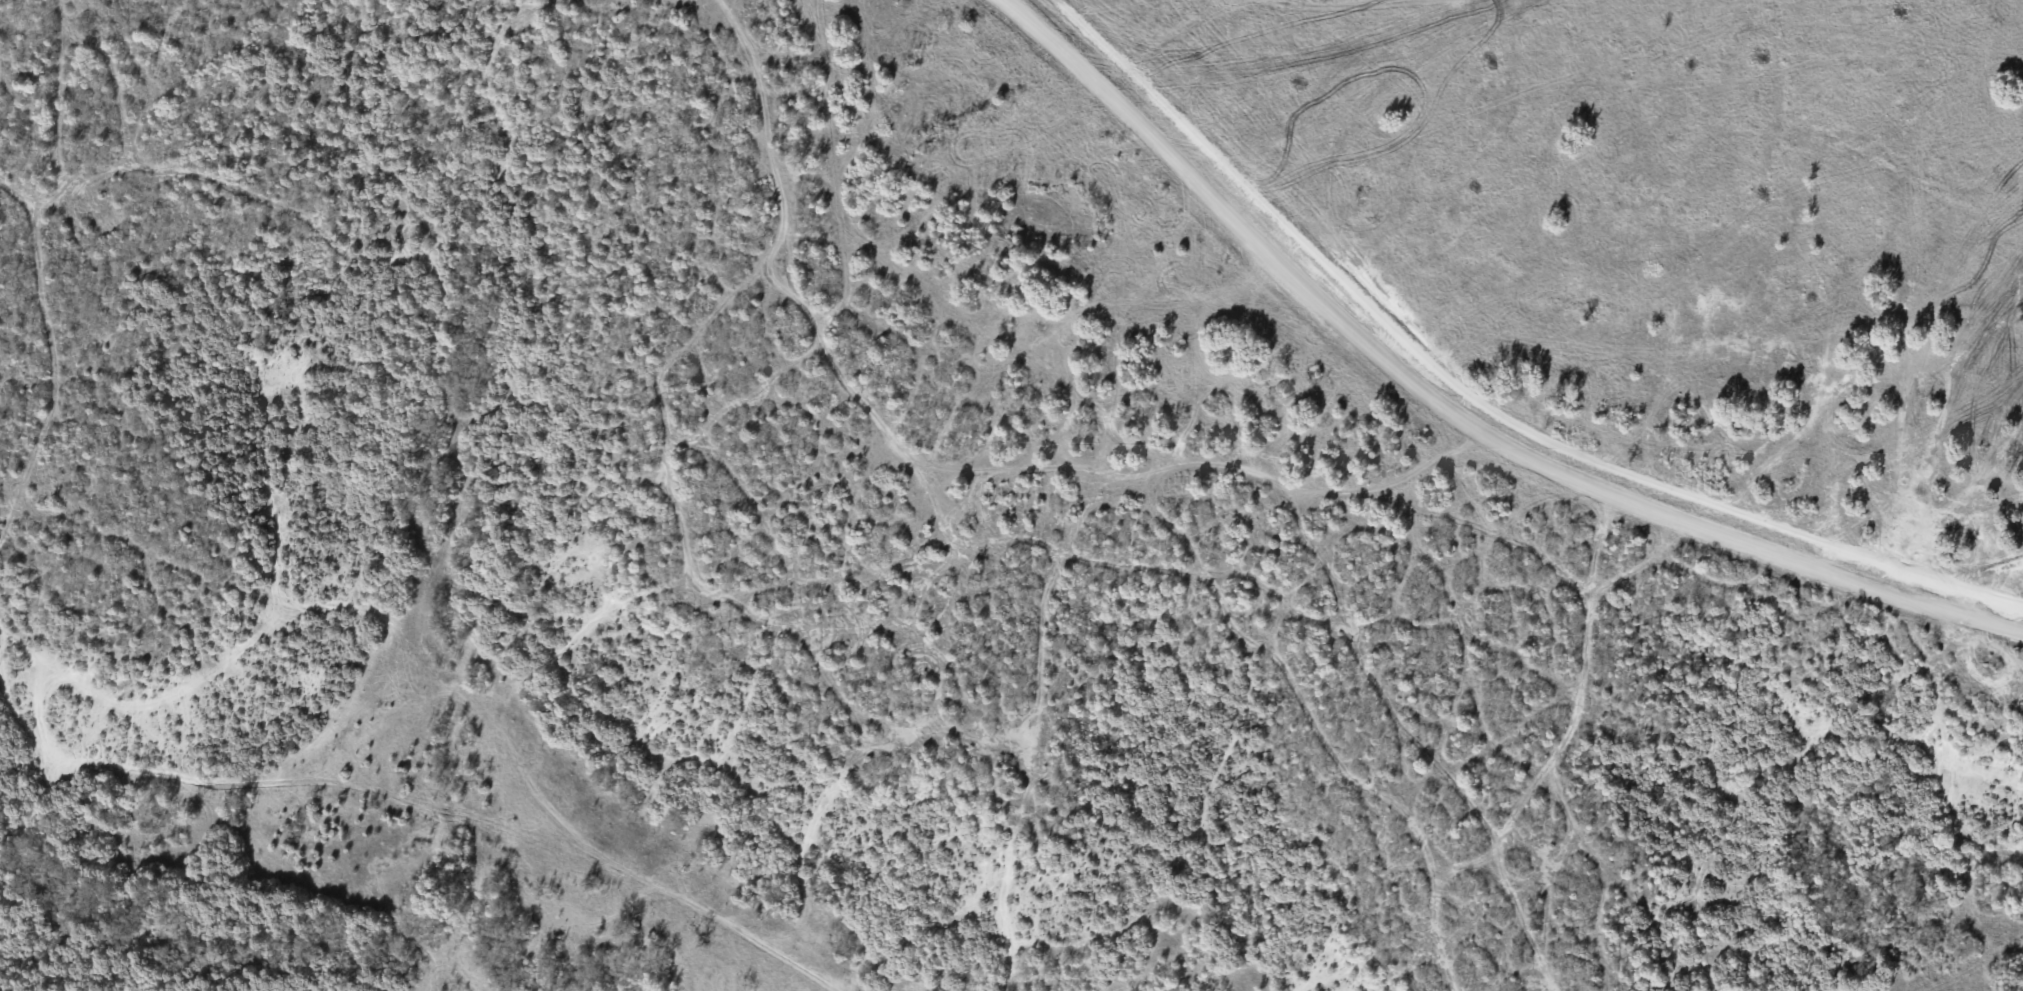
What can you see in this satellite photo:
road: (1478, 401)
road: (1453, 413)

